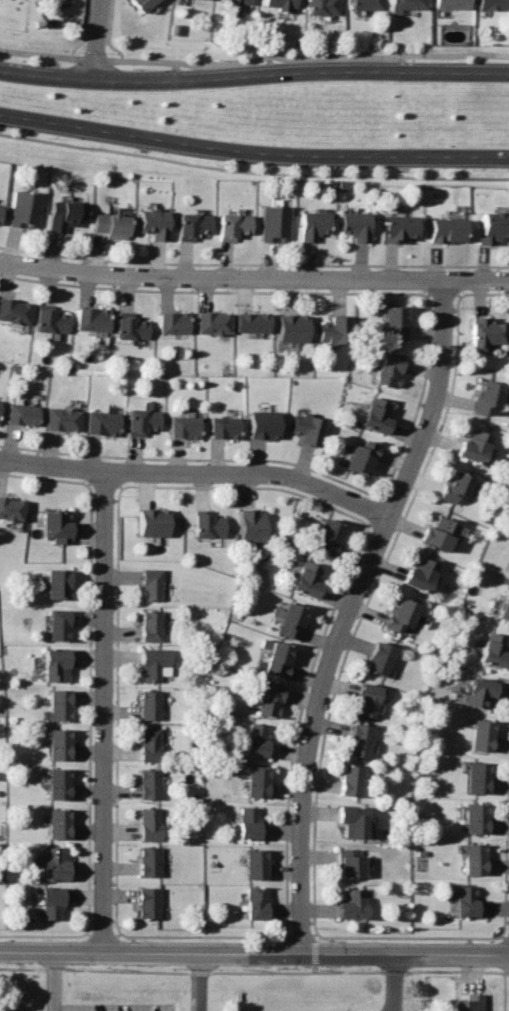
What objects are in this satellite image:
building: (205, 0)
building: (239, 1)
building: (279, 3)
building: (143, 4)
building: (367, 4)
building: (409, 4)
building: (452, 5)
building: (493, 5)
building: (323, 7)
road: (99, 38)
road: (254, 57)
road: (254, 74)
road: (253, 151)
building: (24, 208)
building: (65, 214)
building: (275, 223)
building: (111, 224)
building: (154, 224)
building: (192, 224)
building: (315, 224)
building: (358, 224)
building: (233, 225)
building: (400, 226)
building: (494, 226)
building: (447, 228)
road: (254, 278)
building: (13, 310)
building: (92, 319)
building: (51, 320)
building: (397, 320)
building: (175, 321)
building: (254, 321)
building: (215, 322)
building: (294, 326)
building: (132, 327)
building: (337, 328)
building: (486, 332)
building: (390, 370)
building: (487, 396)
building: (22, 413)
building: (377, 414)
building: (62, 417)
building: (142, 420)
building: (102, 421)
building: (264, 423)
building: (184, 424)
building: (224, 425)
building: (308, 426)
building: (473, 445)
building: (362, 456)
road: (198, 472)
building: (455, 486)
building: (11, 508)
building: (152, 520)
building: (250, 523)
building: (56, 524)
building: (208, 524)
building: (438, 532)
building: (329, 536)
building: (420, 574)
building: (308, 578)
building: (57, 582)
building: (152, 583)
building: (504, 608)
road: (349, 610)
building: (401, 614)
building: (292, 620)
building: (58, 624)
building: (151, 625)
building: (494, 650)
building: (278, 657)
building: (381, 657)
building: (154, 662)
building: (56, 664)
building: (481, 690)
building: (270, 699)
building: (368, 699)
building: (58, 703)
building: (150, 703)
road: (104, 710)
building: (482, 734)
building: (359, 739)
building: (258, 742)
building: (58, 743)
building: (149, 744)
building: (477, 777)
building: (352, 780)
building: (257, 781)
building: (58, 783)
building: (150, 784)
building: (476, 818)
building: (353, 819)
building: (57, 822)
building: (149, 823)
building: (250, 824)
building: (474, 858)
building: (54, 861)
building: (149, 861)
building: (351, 861)
building: (255, 862)
building: (51, 901)
building: (467, 901)
building: (147, 902)
building: (256, 902)
building: (353, 903)
road: (254, 952)
road: (54, 981)
road: (201, 981)
road: (394, 981)
building: (467, 1002)
parking lot: (112, 1007)

